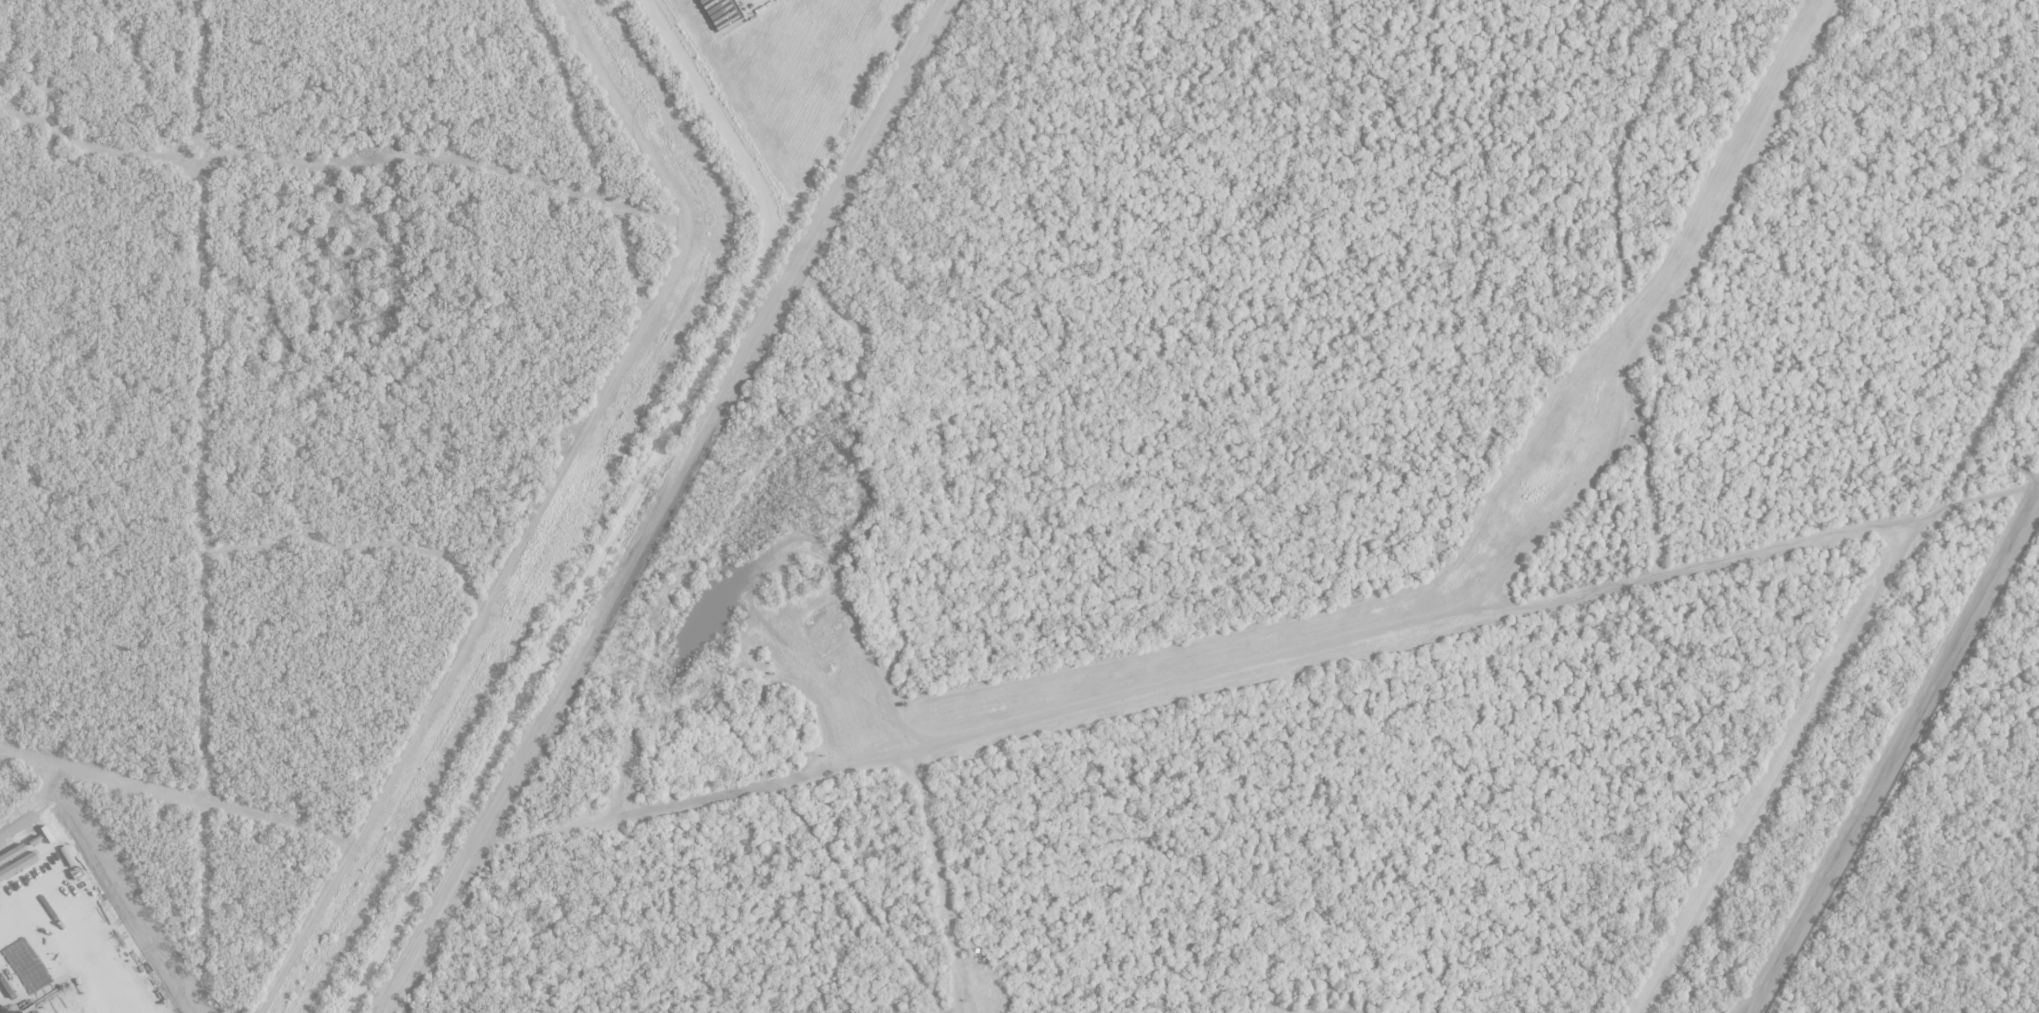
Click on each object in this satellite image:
road: (623, 509)

